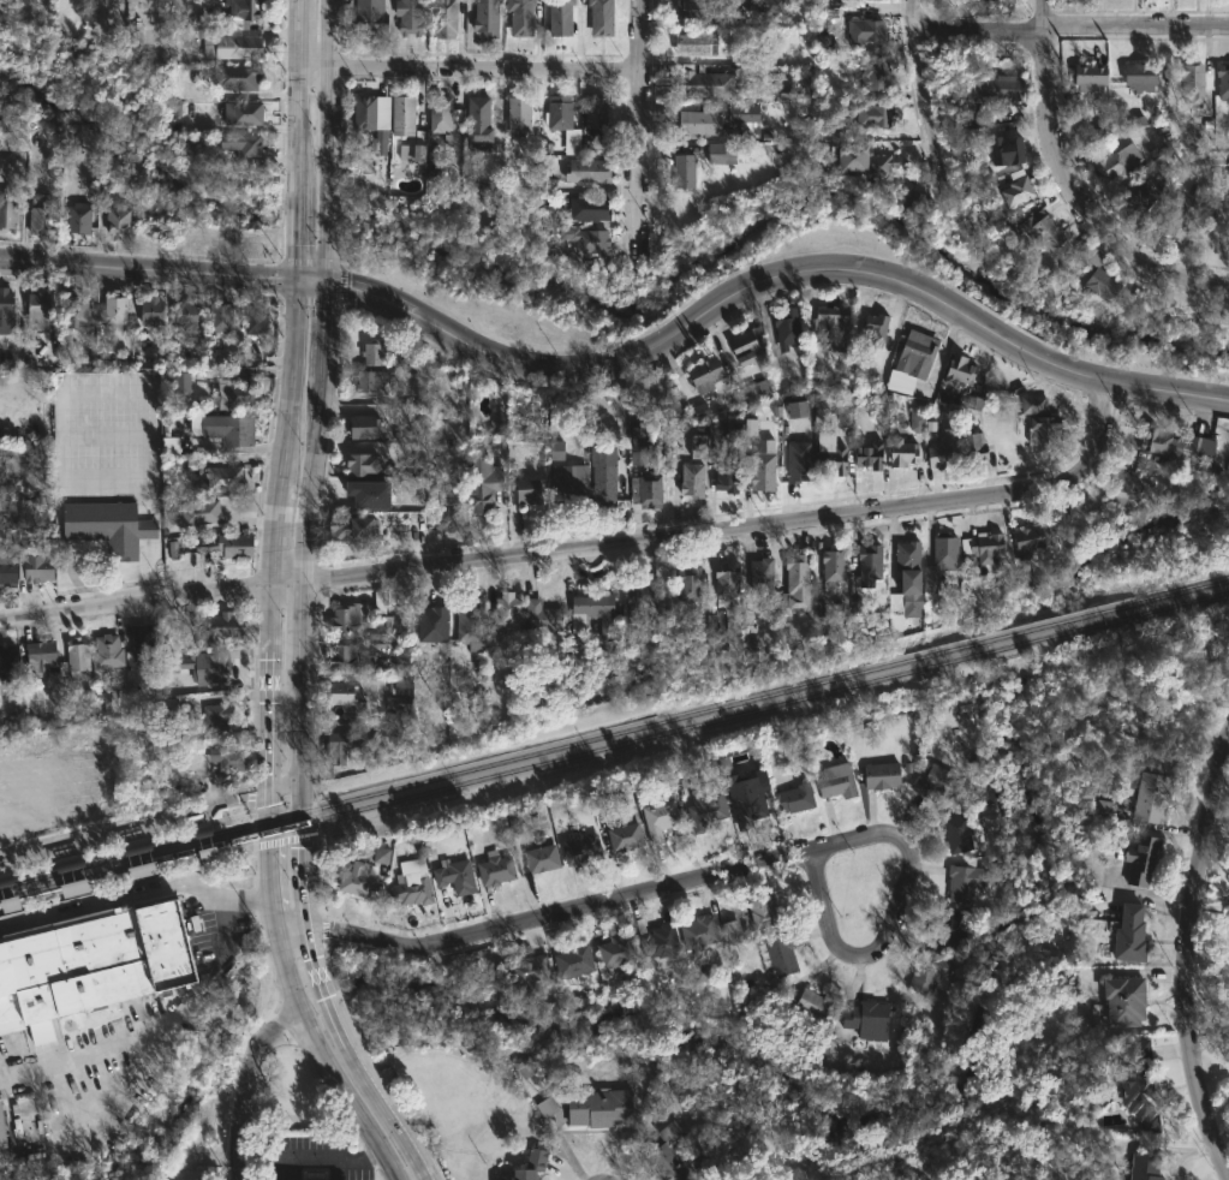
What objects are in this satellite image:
building: (878, 0)
building: (762, 4)
building: (705, 10)
building: (241, 14)
building: (413, 16)
building: (371, 17)
building: (523, 17)
building: (562, 17)
building: (488, 18)
building: (603, 18)
building: (446, 19)
road: (1138, 24)
road: (982, 28)
building: (861, 31)
road: (298, 34)
building: (698, 43)
building: (233, 46)
road: (467, 68)
building: (867, 75)
building: (239, 77)
building: (1085, 77)
building: (1135, 78)
building: (706, 82)
building: (1191, 83)
building: (1222, 83)
building: (1002, 89)
road: (925, 96)
building: (598, 112)
road: (1171, 112)
building: (244, 113)
building: (561, 113)
building: (869, 113)
building: (442, 114)
building: (521, 114)
building: (745, 114)
road: (297, 115)
building: (405, 115)
building: (376, 119)
building: (482, 121)
building: (703, 123)
road: (639, 124)
building: (12, 136)
road: (328, 142)
building: (245, 143)
building: (592, 147)
building: (1001, 150)
building: (416, 153)
building: (724, 153)
building: (858, 159)
building: (1115, 163)
building: (591, 171)
building: (684, 171)
building: (1225, 185)
building: (1016, 187)
road: (1069, 191)
building: (490, 193)
building: (1143, 197)
building: (592, 209)
building: (10, 211)
building: (42, 214)
building: (545, 215)
building: (1176, 219)
building: (80, 220)
building: (120, 221)
road: (294, 221)
building: (1032, 231)
building: (590, 240)
traffic signals: (294, 245)
road: (309, 261)
road: (147, 270)
road: (771, 276)
road: (276, 278)
traffic signals: (273, 279)
road: (311, 281)
building: (1098, 284)
road: (341, 285)
traffic signals: (347, 287)
road: (308, 300)
building: (7, 306)
building: (41, 308)
traffic signals: (327, 310)
building: (80, 311)
building: (154, 311)
building: (117, 314)
building: (190, 316)
building: (223, 318)
building: (258, 320)
building: (831, 326)
building: (781, 327)
building: (876, 329)
building: (744, 345)
building: (372, 353)
building: (914, 354)
road: (288, 366)
building: (955, 370)
building: (702, 373)
building: (372, 379)
building: (183, 382)
building: (756, 391)
building: (237, 393)
building: (1030, 404)
building: (797, 410)
building: (915, 422)
building: (499, 423)
building: (368, 425)
building: (232, 428)
building: (717, 429)
building: (1040, 429)
road: (315, 430)
building: (640, 437)
building: (1155, 441)
building: (968, 442)
building: (1200, 447)
building: (556, 449)
building: (897, 453)
building: (939, 454)
building: (864, 457)
building: (24, 459)
building: (799, 461)
building: (831, 461)
building: (366, 463)
building: (759, 466)
building: (44, 467)
building: (692, 467)
building: (724, 473)
building: (223, 475)
building: (1228, 477)
building: (485, 481)
building: (567, 485)
building: (1132, 485)
building: (4, 487)
road: (95, 487)
building: (649, 487)
building: (527, 489)
building: (599, 490)
building: (369, 494)
building: (443, 501)
building: (201, 513)
road: (272, 515)
building: (111, 525)
building: (366, 528)
road: (740, 528)
building: (342, 529)
building: (1021, 540)
building: (232, 544)
building: (980, 546)
building: (942, 550)
building: (902, 552)
building: (40, 564)
building: (865, 564)
building: (10, 566)
building: (197, 566)
building: (831, 568)
building: (764, 573)
road: (284, 578)
building: (794, 582)
building: (687, 584)
building: (902, 595)
road: (133, 596)
building: (720, 596)
building: (640, 597)
building: (593, 608)
building: (509, 610)
building: (383, 612)
building: (541, 615)
building: (350, 616)
building: (436, 622)
building: (472, 622)
building: (223, 628)
building: (381, 639)
building: (147, 643)
building: (111, 650)
building: (41, 654)
building: (79, 657)
building: (352, 657)
building: (8, 663)
building: (213, 667)
road: (299, 678)
road: (269, 684)
building: (399, 686)
building: (102, 692)
building: (348, 693)
building: (167, 707)
building: (219, 716)
railway: (718, 719)
railway: (614, 732)
building: (351, 741)
building: (227, 758)
building: (881, 775)
building: (931, 780)
building: (834, 781)
road: (285, 783)
building: (1149, 795)
building: (793, 798)
building: (742, 800)
building: (700, 809)
road: (246, 812)
road: (311, 816)
building: (657, 818)
building: (990, 822)
road: (135, 824)
railway: (210, 827)
building: (957, 833)
building: (620, 838)
road: (281, 840)
railway: (216, 844)
building: (579, 847)
building: (207, 848)
railway: (217, 854)
building: (381, 856)
building: (544, 858)
building: (1136, 858)
road: (269, 862)
building: (141, 868)
building: (497, 869)
railway: (105, 872)
building: (458, 876)
building: (64, 877)
building: (359, 878)
building: (961, 882)
building: (76, 884)
building: (413, 887)
road: (259, 898)
road: (303, 898)
road: (114, 899)
building: (760, 908)
road: (542, 917)
building: (696, 931)
building: (732, 931)
building: (942, 931)
building: (1126, 934)
road: (885, 936)
building: (660, 941)
building: (620, 952)
building: (776, 954)
road: (1185, 955)
building: (578, 961)
building: (93, 965)
building: (694, 969)
building: (531, 970)
building: (927, 972)
building: (1120, 1000)
building: (815, 1005)
road: (157, 1011)
building: (866, 1018)
road: (327, 1061)
building: (524, 1066)
road: (240, 1084)
building: (1135, 1084)
road: (378, 1097)
building: (603, 1108)
building: (1, 1133)
building: (1092, 1152)
building: (666, 1155)
road: (308, 1157)
building: (532, 1166)
building: (1145, 1167)
building: (169, 1179)

